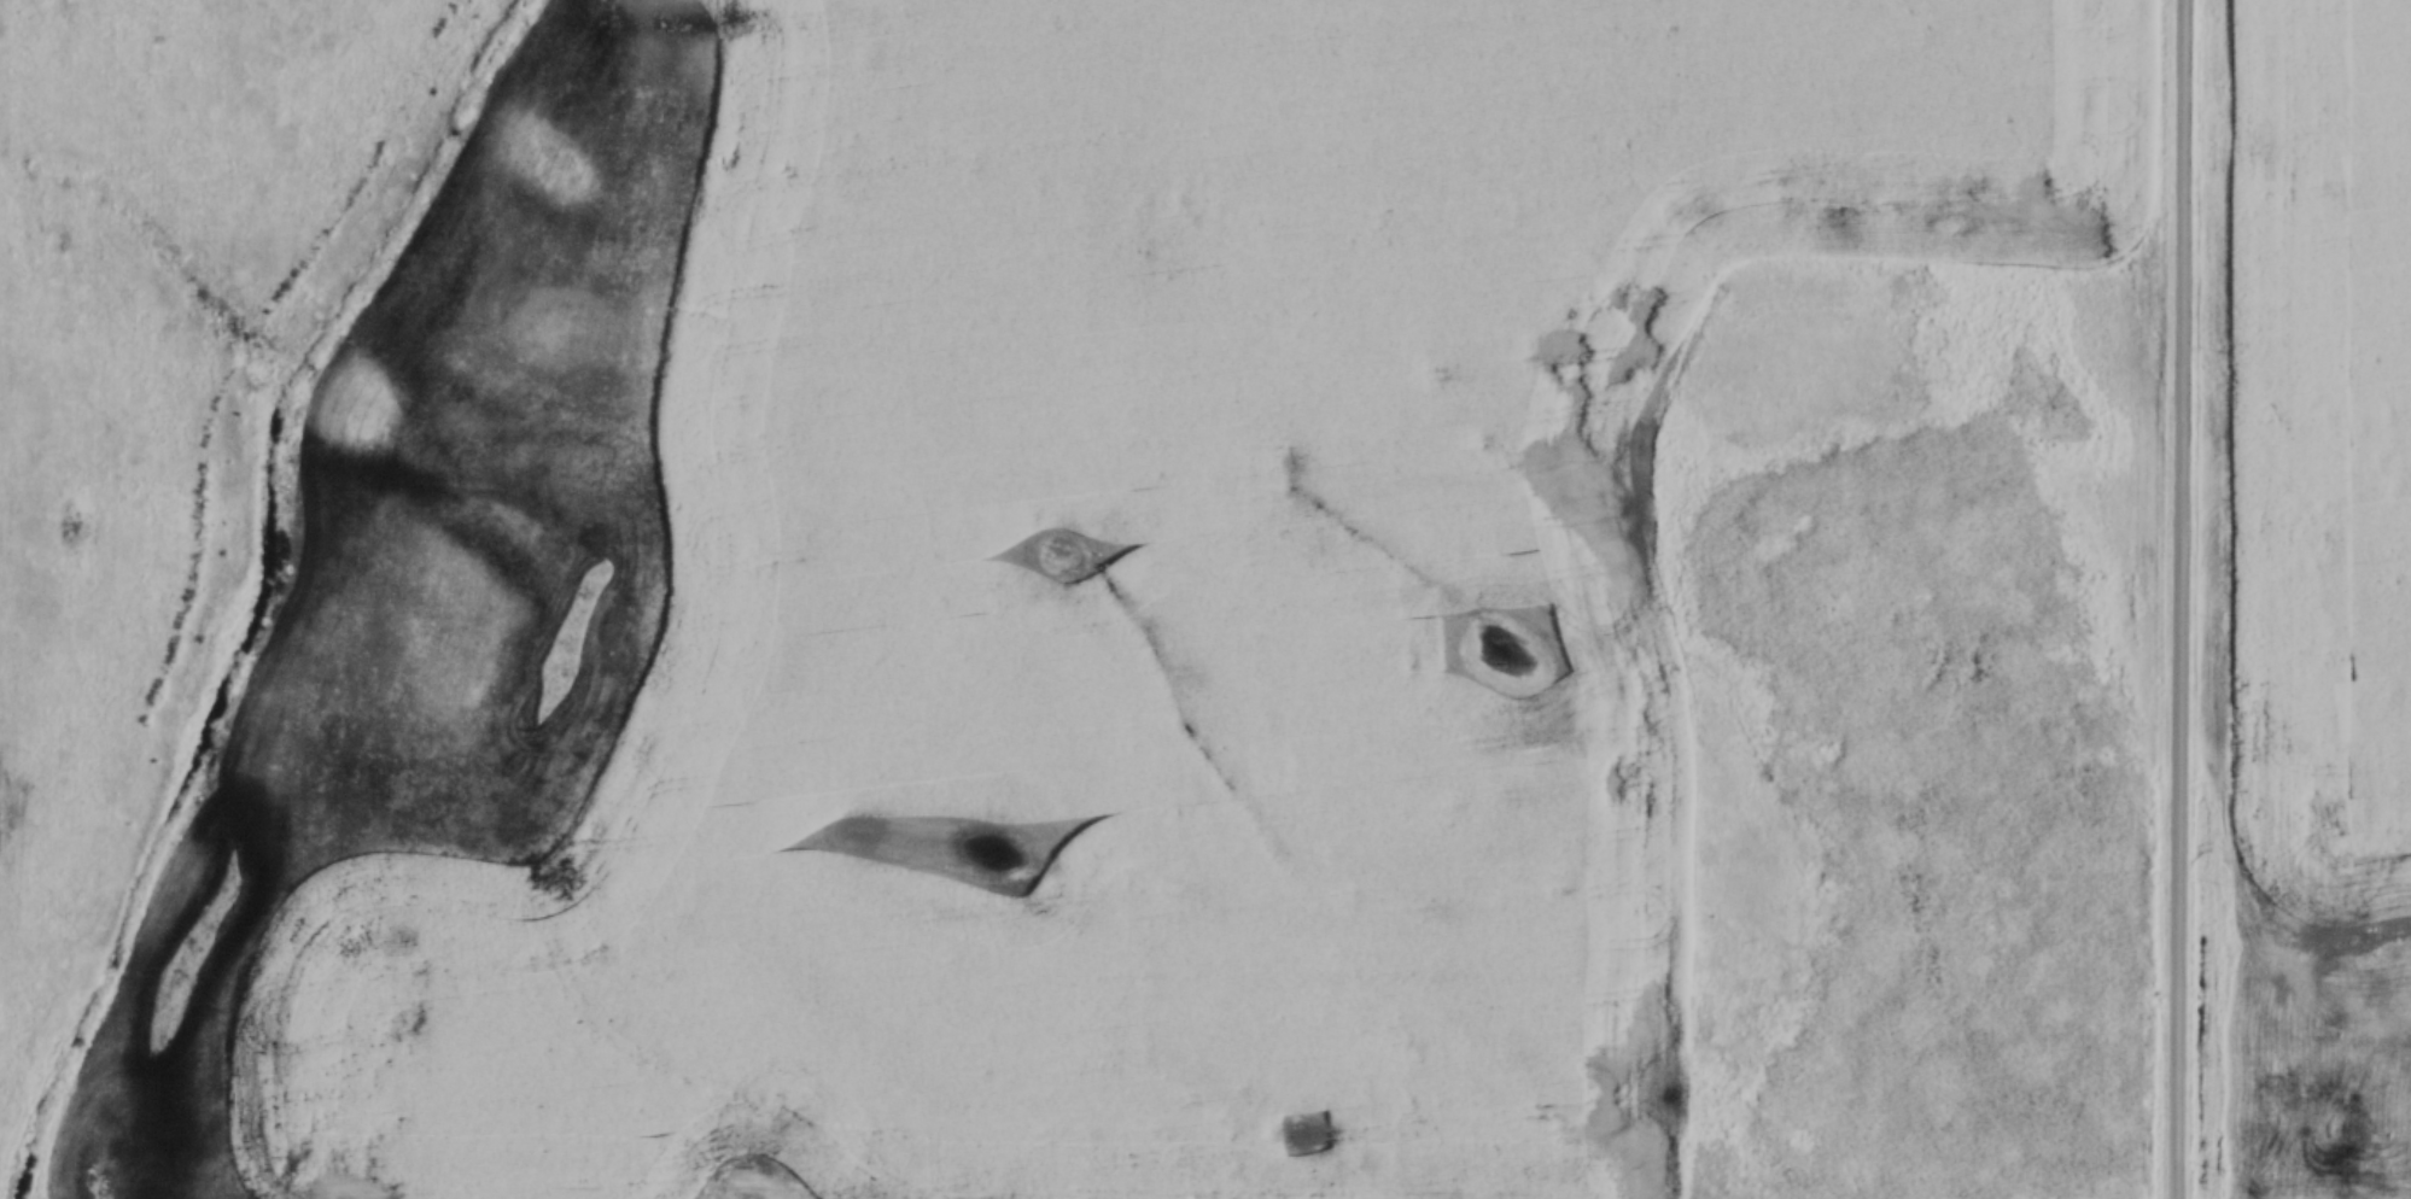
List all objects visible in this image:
road: (2182, 599)

